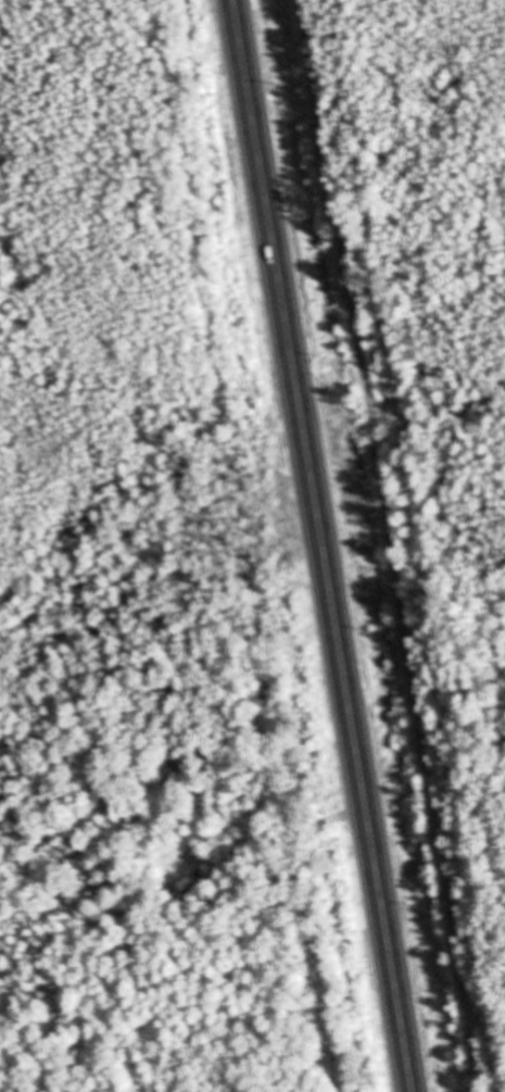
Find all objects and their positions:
road: (326, 545)
building: (203, 883)
building: (177, 895)

